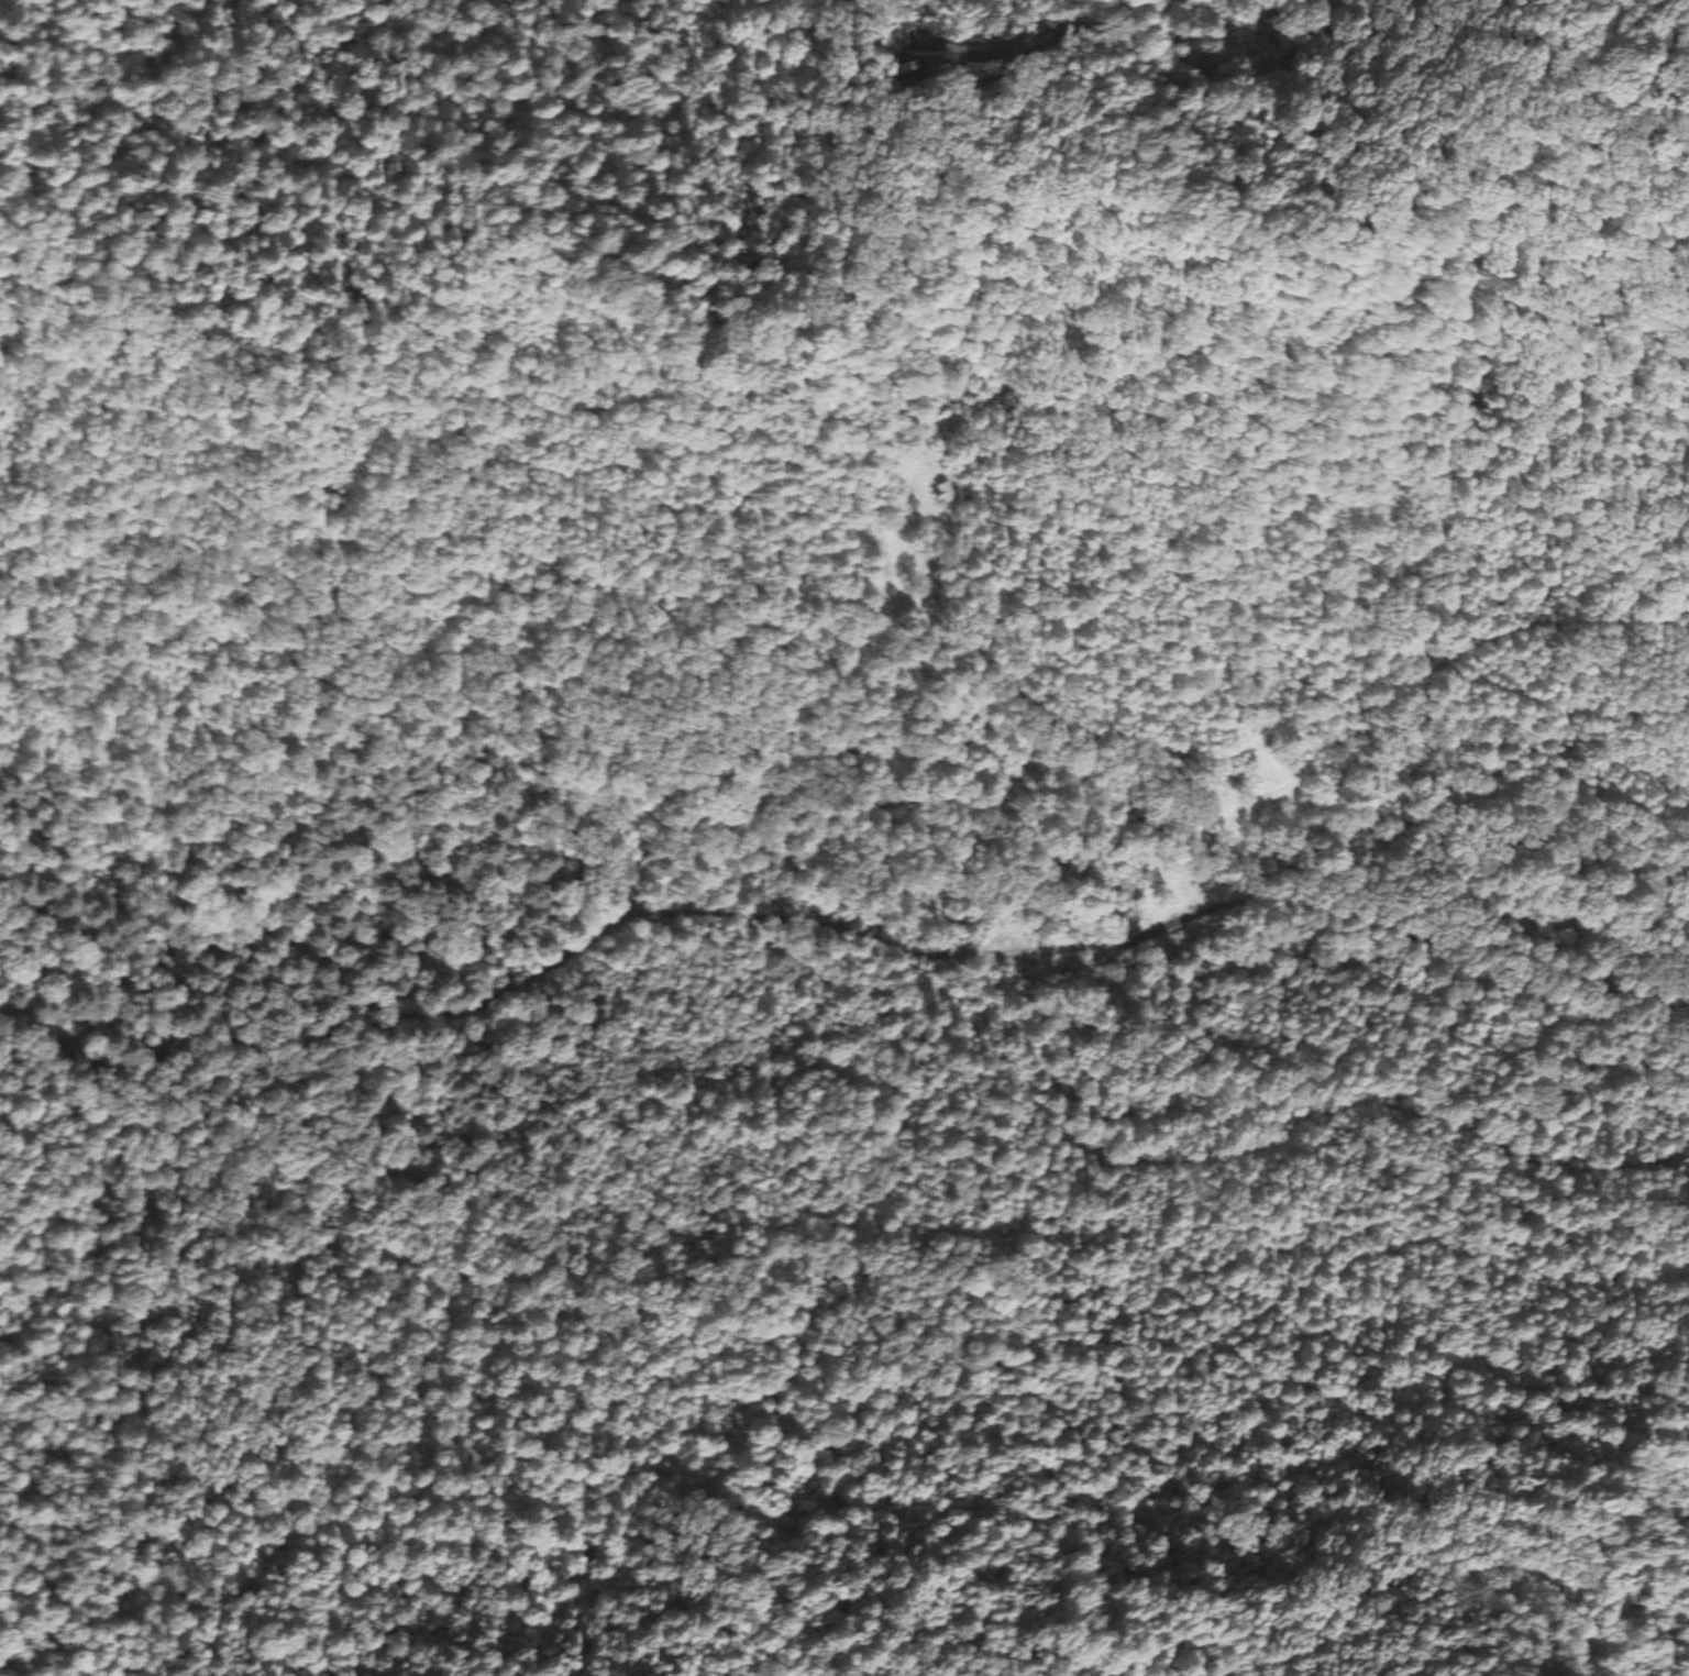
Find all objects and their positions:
road: (1263, 68)

